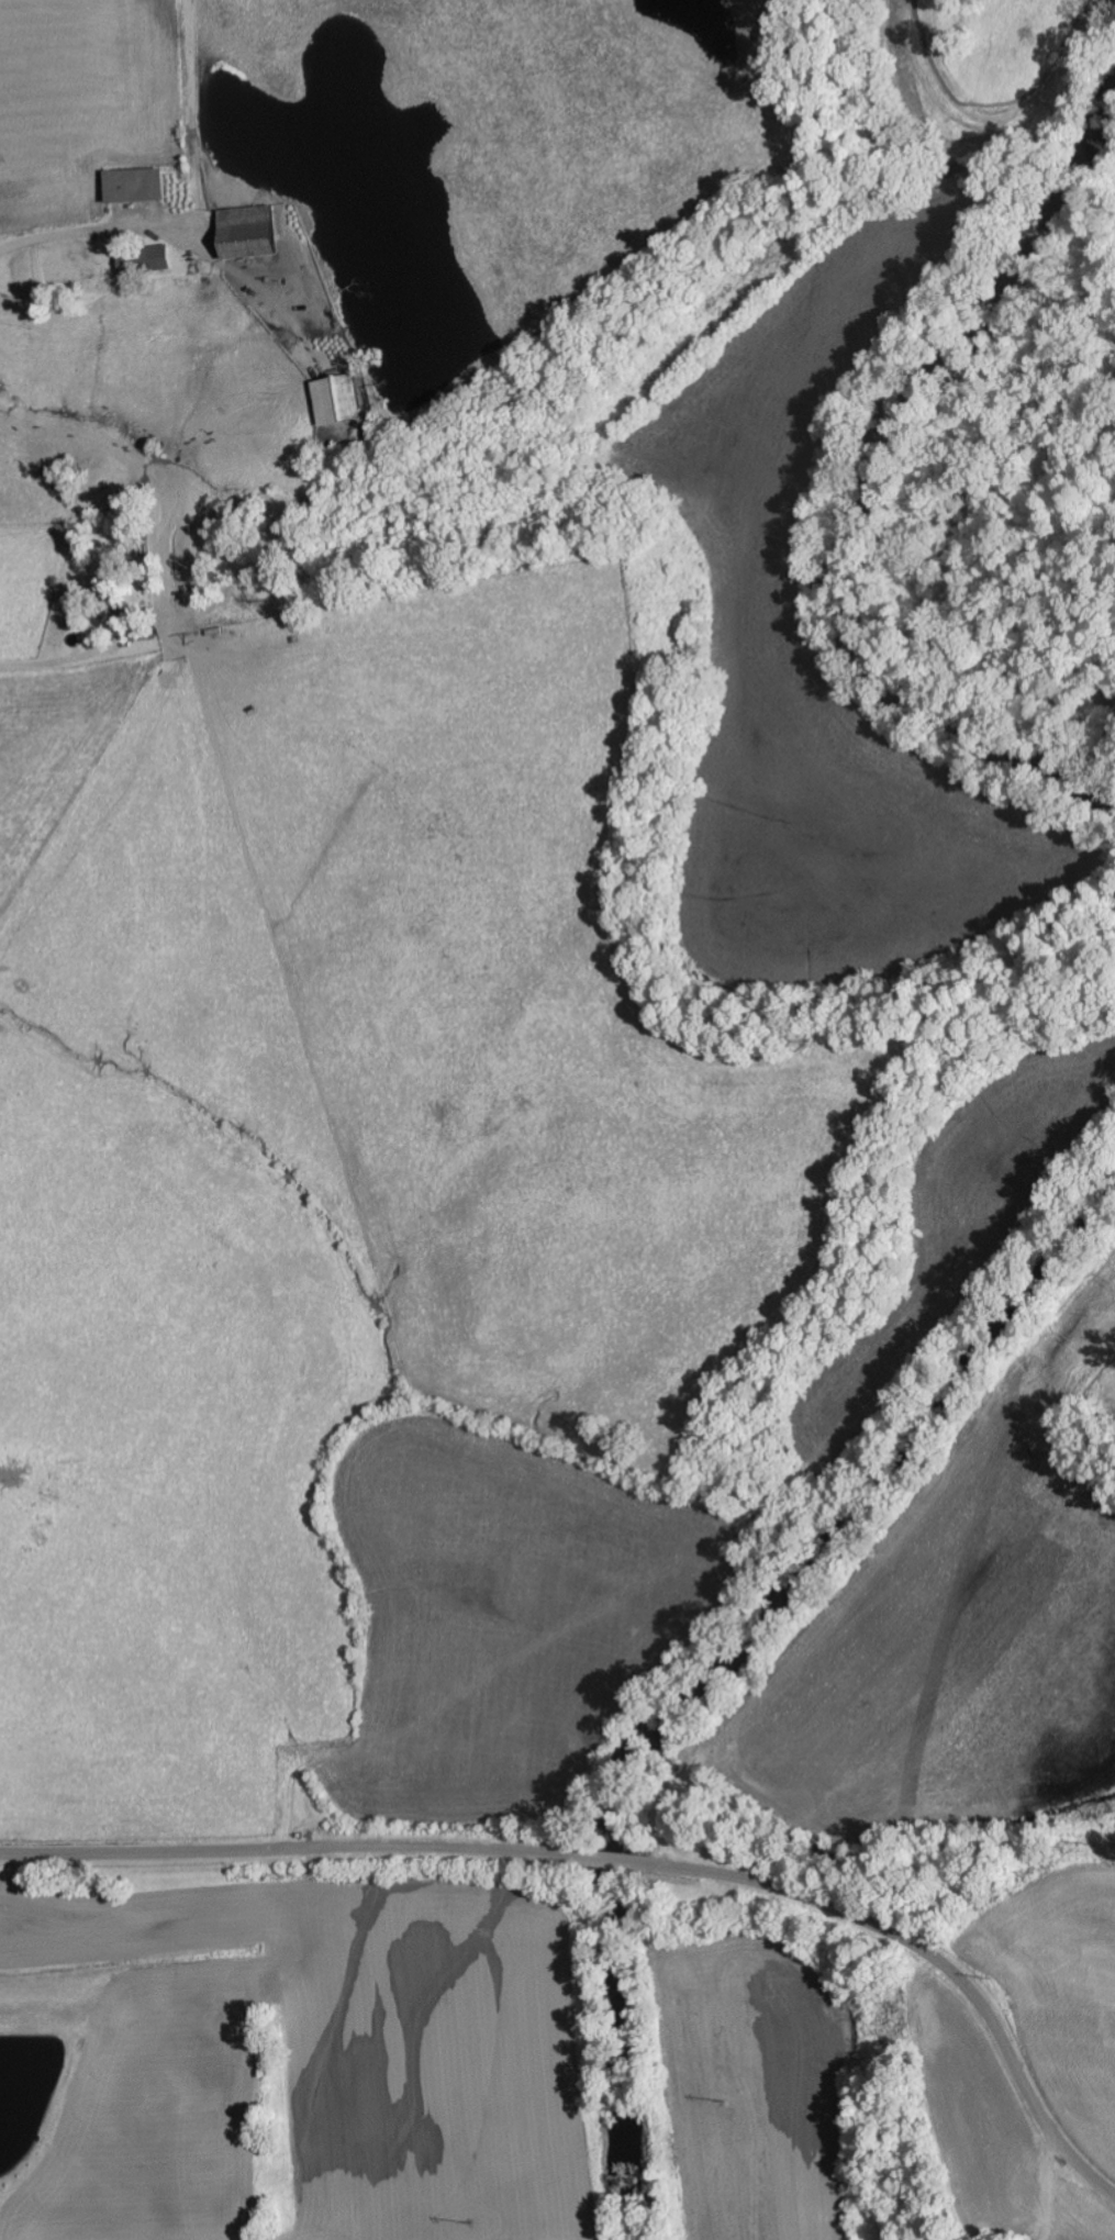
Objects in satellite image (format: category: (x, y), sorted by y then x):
building: (136, 185)
building: (249, 232)
road: (156, 234)
building: (159, 258)
building: (129, 263)
building: (77, 265)
building: (339, 399)
road: (154, 618)
road: (286, 1851)
road: (612, 1862)
road: (935, 1961)

